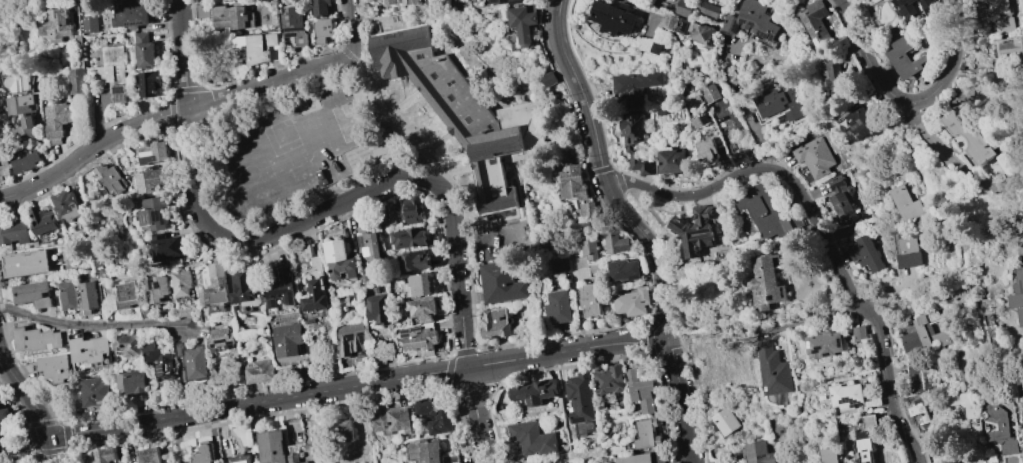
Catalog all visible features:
building: (497, 1)
building: (390, 2)
building: (409, 2)
building: (928, 3)
building: (320, 7)
building: (906, 7)
building: (683, 8)
building: (709, 10)
building: (131, 14)
building: (998, 17)
building: (233, 18)
building: (612, 18)
rooftop solar panel: (740, 19)
building: (751, 20)
building: (669, 21)
rooftop solar panel: (136, 22)
building: (523, 23)
building: (89, 24)
rooftop solar panel: (751, 24)
rooftop solar panel: (812, 24)
building: (816, 24)
building: (55, 25)
building: (293, 25)
rooftop solar panel: (734, 27)
building: (323, 30)
building: (696, 31)
rooftop solar panel: (762, 33)
rooftop solar panel: (820, 34)
building: (263, 48)
building: (655, 48)
building: (1010, 49)
building: (144, 50)
road: (184, 53)
building: (906, 58)
building: (110, 72)
road: (295, 73)
building: (833, 75)
building: (548, 78)
building: (76, 80)
building: (18, 83)
building: (149, 83)
building: (635, 87)
rooftop solar panel: (118, 89)
building: (709, 93)
rooftop solar panel: (122, 97)
road: (910, 101)
building: (693, 102)
building: (20, 104)
building: (777, 104)
rooftop solar panel: (33, 106)
road: (744, 108)
building: (461, 113)
rooftop solar panel: (28, 114)
road: (125, 116)
building: (699, 120)
building: (56, 121)
road: (402, 121)
building: (861, 121)
rooftop solar panel: (862, 123)
building: (24, 129)
rooftop solar panel: (865, 133)
building: (971, 135)
building: (636, 143)
road: (91, 150)
building: (707, 151)
building: (151, 154)
building: (814, 157)
road: (947, 157)
building: (26, 159)
building: (671, 161)
building: (4, 167)
road: (606, 173)
road: (193, 174)
building: (110, 179)
building: (153, 180)
building: (572, 182)
road: (693, 197)
building: (842, 198)
building: (908, 204)
building: (67, 206)
building: (588, 208)
road: (332, 209)
building: (409, 209)
building: (765, 210)
building: (155, 213)
rooftop solar panel: (162, 214)
building: (386, 215)
rooftop solar panel: (148, 217)
building: (42, 220)
building: (13, 230)
building: (695, 230)
building: (407, 238)
building: (614, 241)
road: (207, 246)
building: (841, 246)
building: (368, 247)
building: (585, 247)
building: (168, 248)
building: (310, 250)
rooftop solar panel: (367, 251)
building: (908, 251)
building: (866, 254)
building: (339, 259)
building: (413, 261)
building: (27, 264)
building: (560, 265)
building: (623, 269)
rooftop solar panel: (152, 282)
building: (767, 282)
building: (182, 283)
building: (501, 283)
road: (847, 284)
building: (416, 285)
building: (216, 286)
rooftop solar panel: (162, 287)
building: (159, 288)
building: (280, 288)
building: (244, 291)
building: (1018, 293)
building: (34, 294)
building: (315, 294)
building: (70, 295)
building: (91, 295)
building: (129, 295)
building: (589, 300)
building: (632, 302)
building: (559, 307)
building: (377, 308)
building: (422, 308)
road: (811, 318)
building: (496, 323)
road: (93, 325)
road: (653, 325)
road: (463, 328)
rooftop solar panel: (409, 331)
rooftop solar panel: (417, 331)
building: (930, 332)
building: (859, 333)
building: (222, 338)
building: (38, 339)
building: (288, 339)
building: (351, 339)
building: (419, 339)
rooftop solar panel: (840, 341)
building: (128, 344)
rooftop solar panel: (809, 344)
building: (824, 344)
rooftop solar panel: (816, 349)
building: (91, 351)
rooftop solar panel: (830, 354)
building: (160, 357)
building: (195, 361)
building: (55, 368)
building: (772, 370)
rooftop solar panel: (161, 372)
building: (260, 372)
building: (915, 376)
building: (608, 379)
building: (132, 381)
road: (333, 390)
building: (94, 391)
building: (534, 391)
building: (640, 391)
building: (845, 395)
building: (580, 398)
rooftop solar panel: (848, 400)
road: (680, 401)
road: (34, 404)
building: (968, 410)
building: (4, 413)
road: (21, 414)
building: (1022, 414)
building: (433, 415)
building: (920, 416)
building: (390, 420)
building: (726, 422)
building: (868, 422)
building: (1001, 430)
building: (346, 431)
building: (645, 435)
traffic signals: (52, 436)
building: (531, 438)
road: (907, 438)
building: (272, 446)
building: (863, 447)
building: (425, 452)
building: (204, 453)
building: (757, 453)
building: (148, 455)
building: (829, 455)
building: (103, 456)
building: (979, 457)
building: (643, 458)
building: (242, 459)
building: (295, 459)

